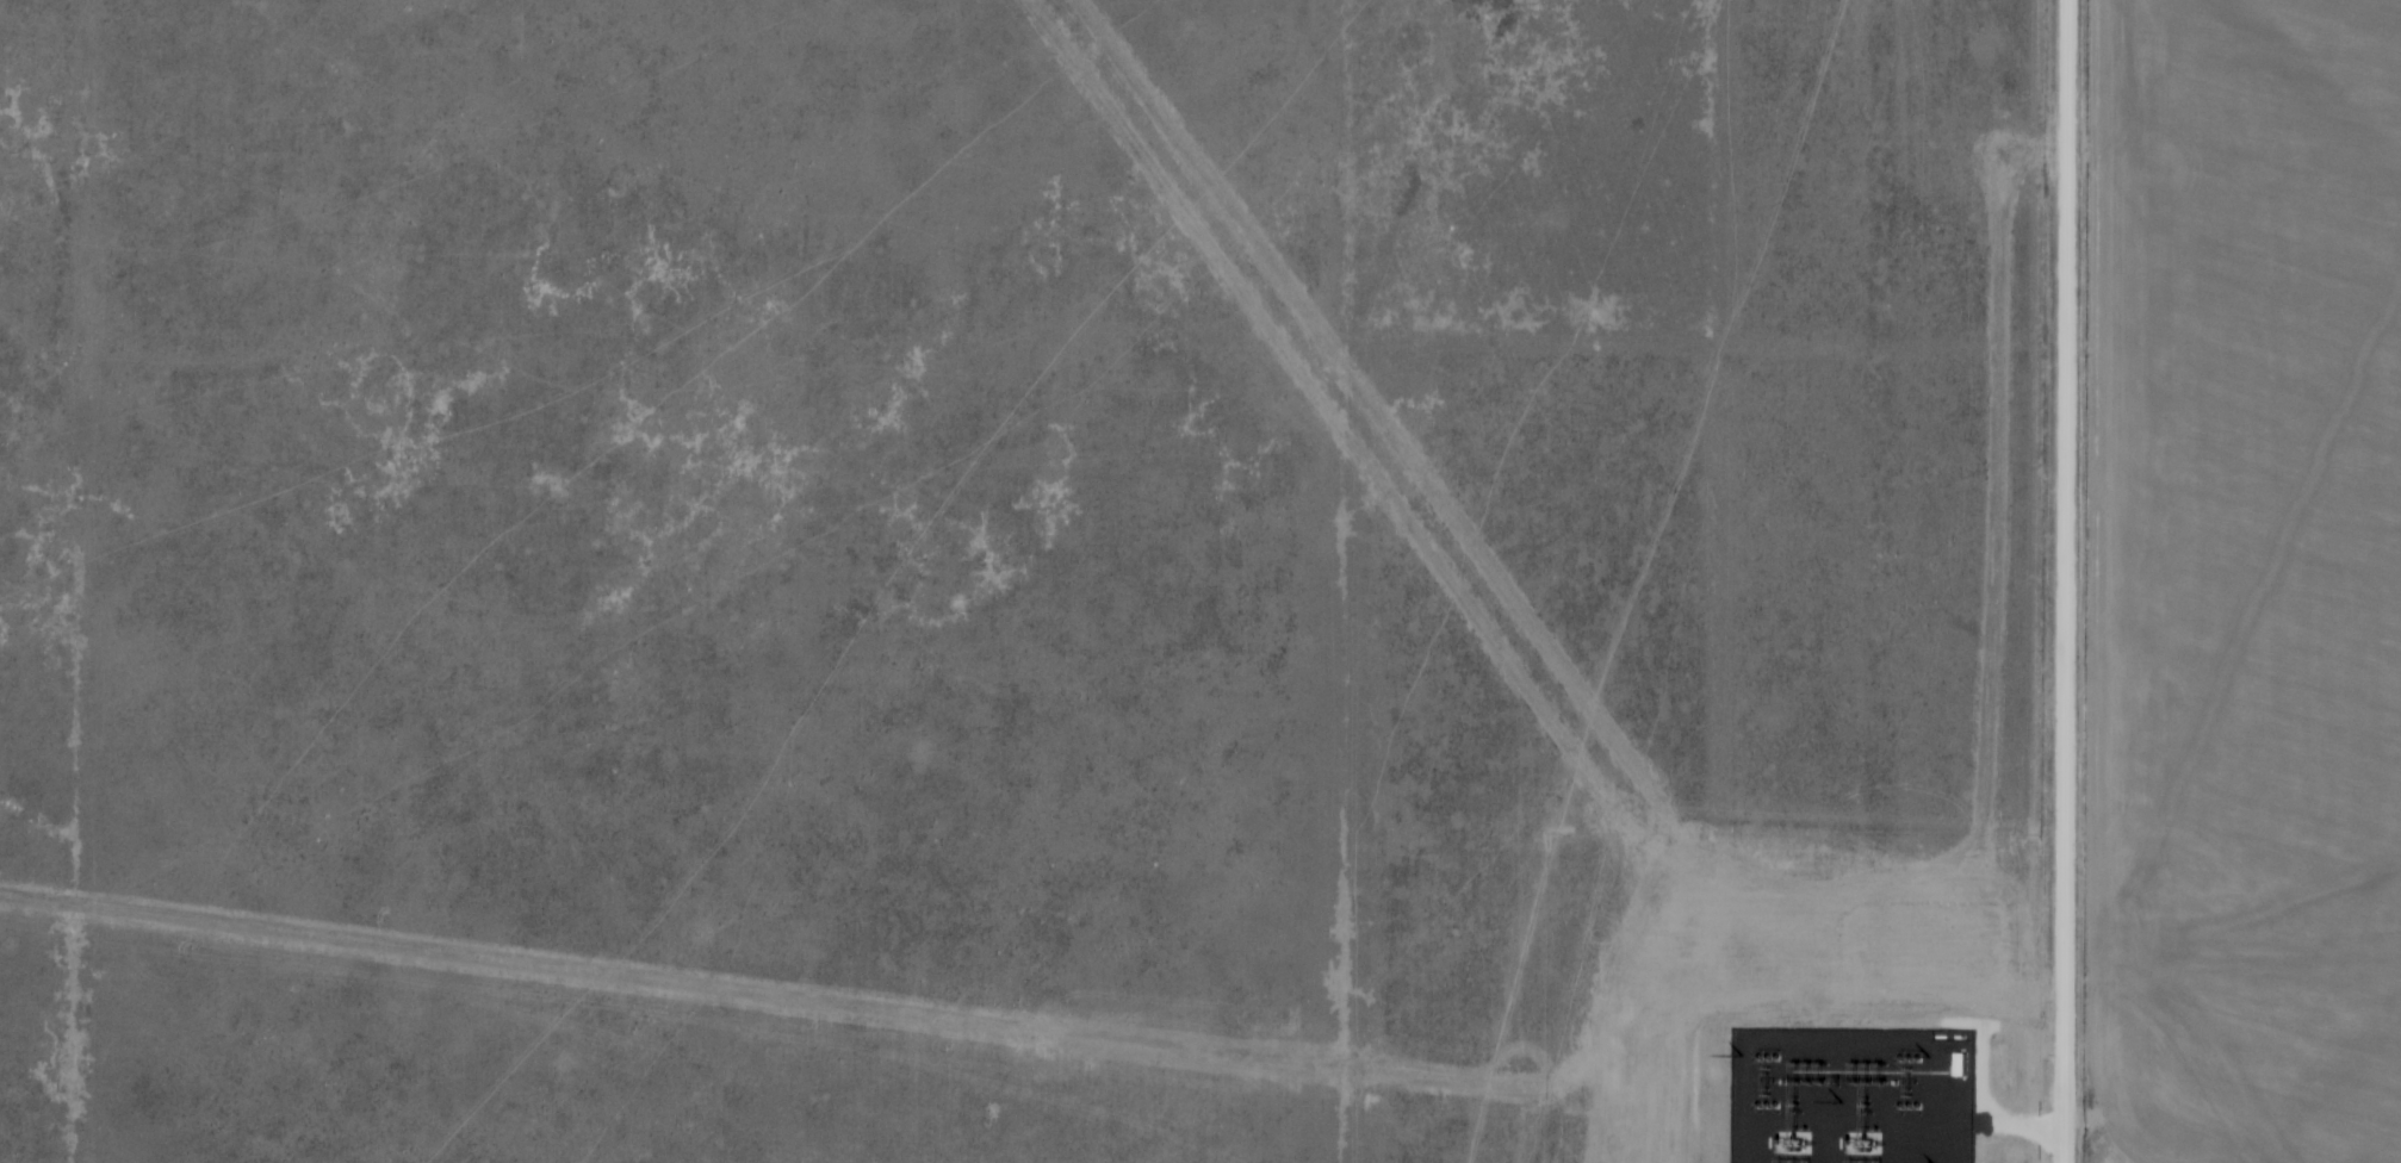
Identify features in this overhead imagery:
road: (2066, 581)
power substation: (1850, 1096)

